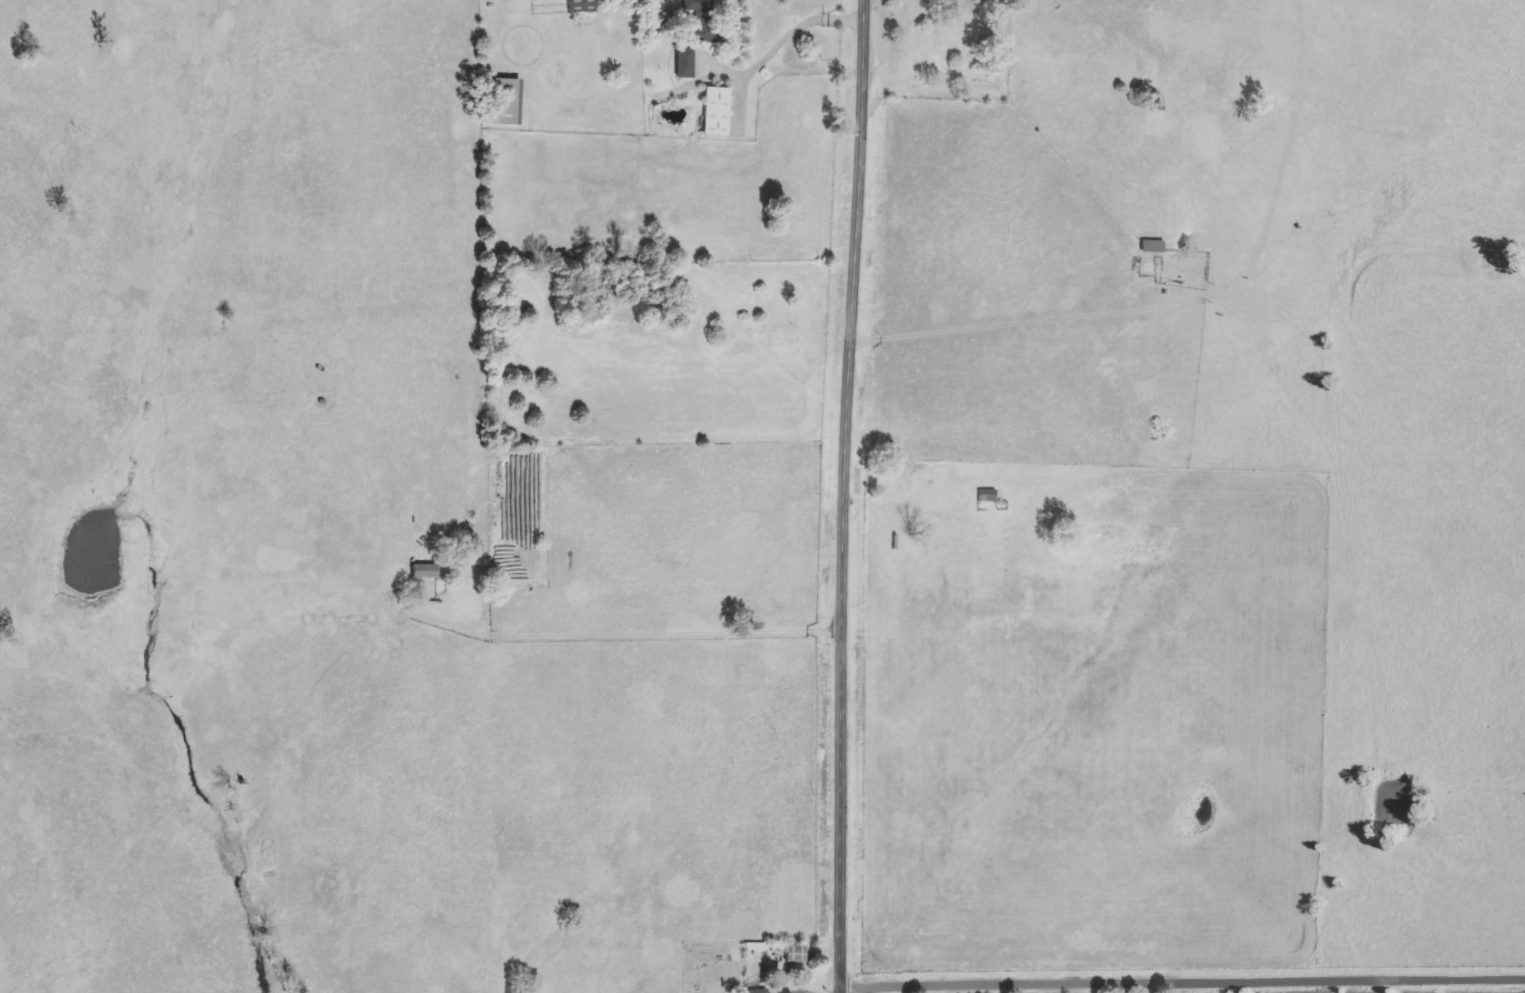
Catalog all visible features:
building: (584, 6)
building: (705, 22)
building: (687, 63)
building: (508, 101)
building: (719, 111)
building: (988, 495)
road: (842, 496)
building: (426, 571)
building: (797, 954)
road: (1182, 982)
building: (761, 991)

